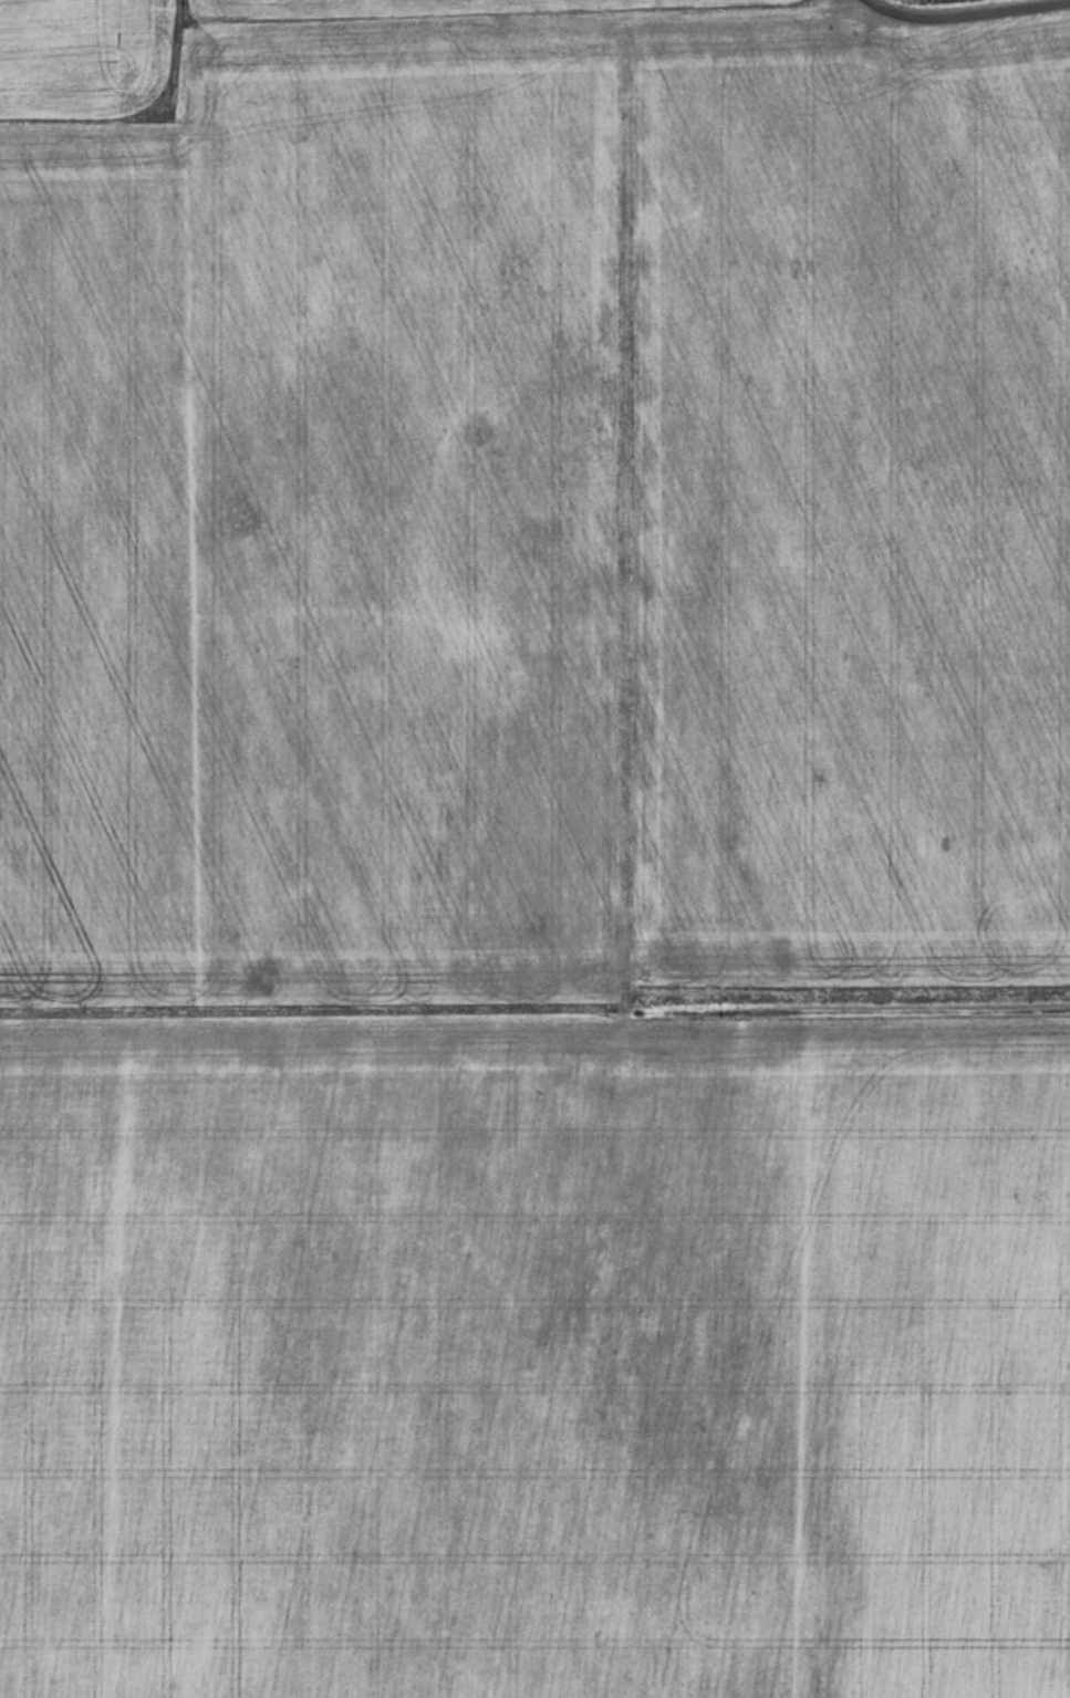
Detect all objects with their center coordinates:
road: (949, 9)
road: (388, 23)

